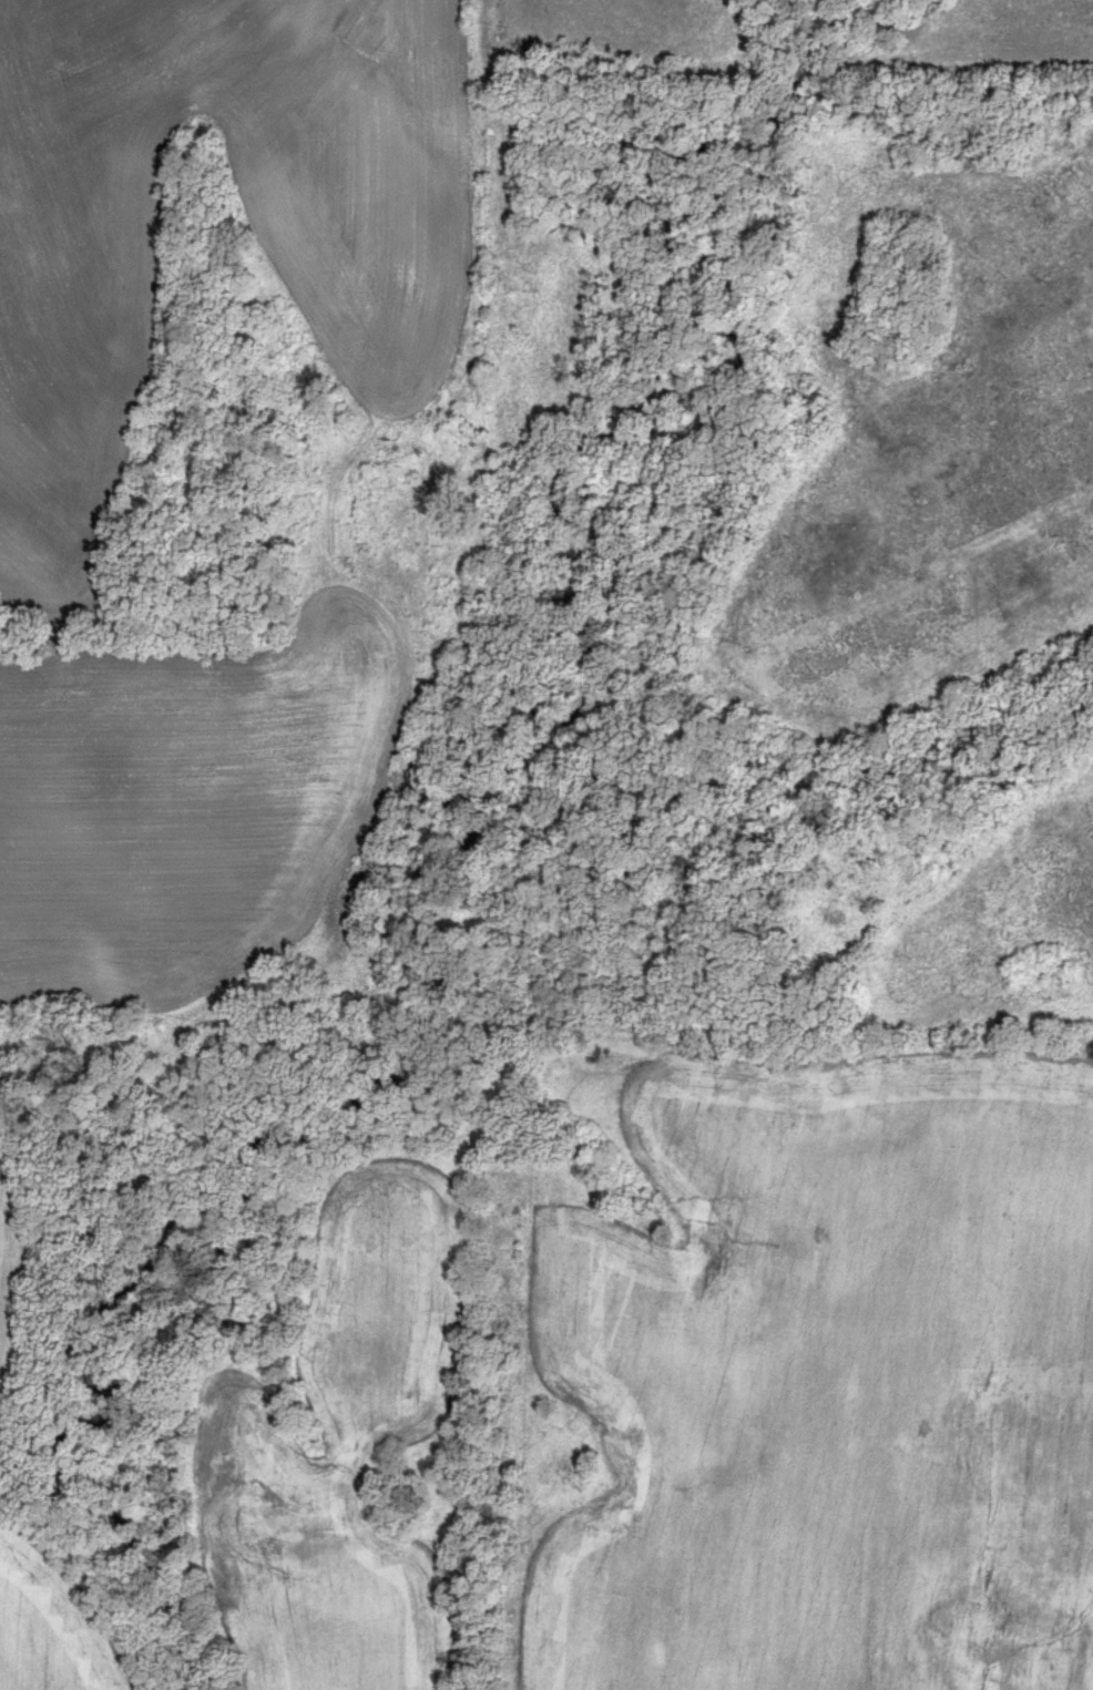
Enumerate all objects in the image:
road: (775, 20)

